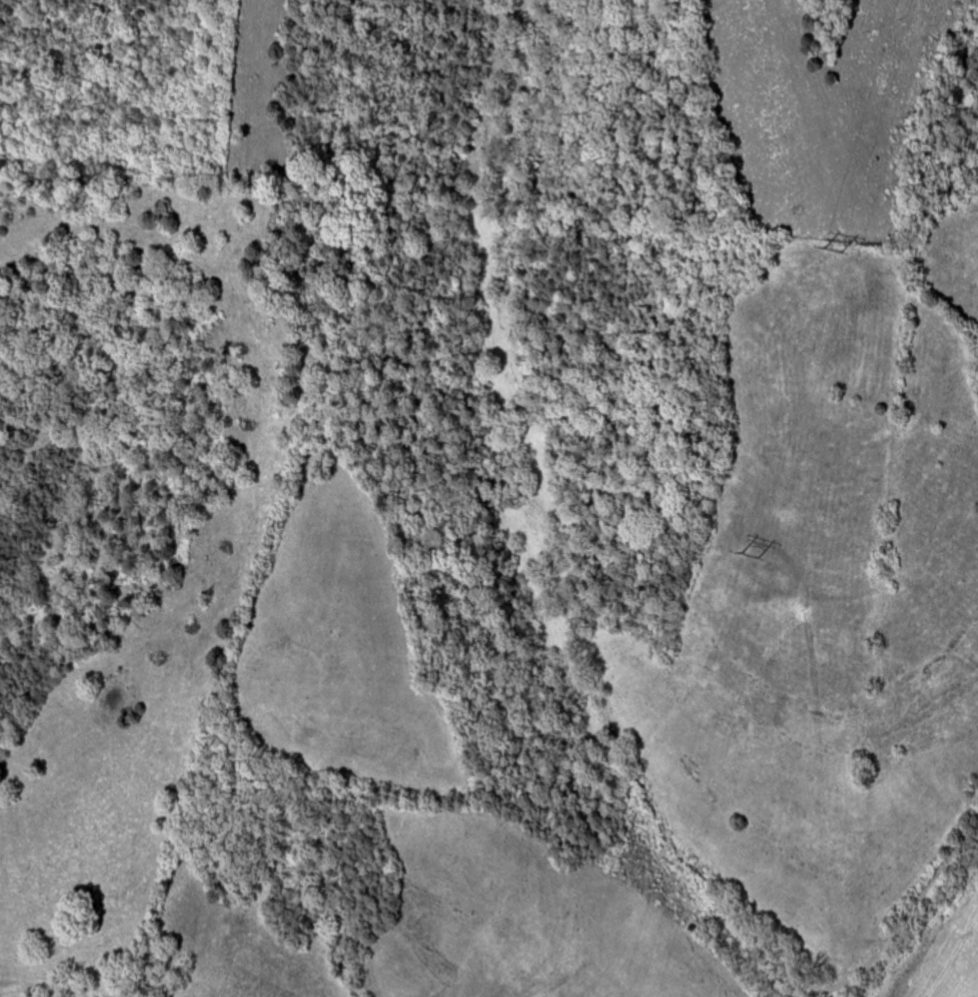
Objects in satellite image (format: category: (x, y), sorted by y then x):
power tower: (833, 247)
power tower: (752, 554)

